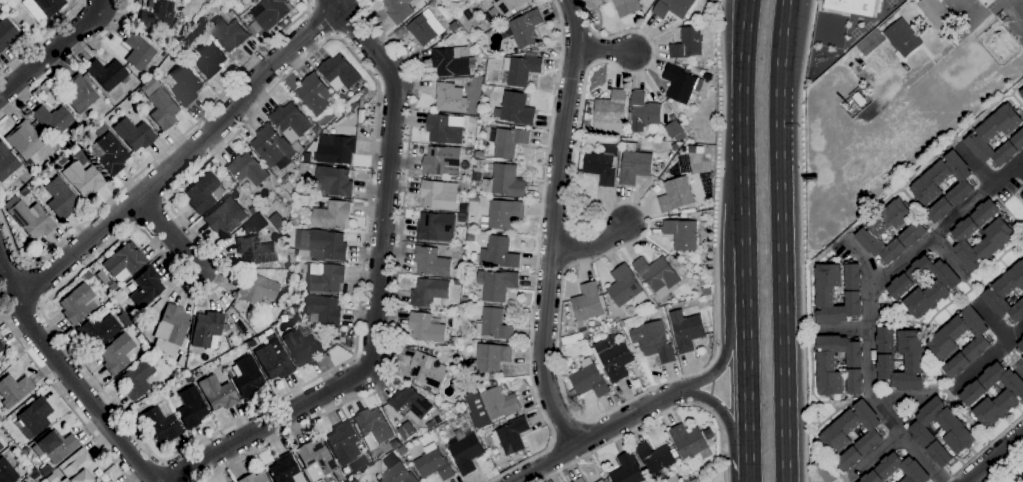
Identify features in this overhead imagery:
building: (603, 0)
building: (241, 1)
road: (366, 2)
park: (889, 2)
road: (311, 3)
building: (851, 6)
building: (42, 7)
building: (626, 7)
building: (505, 8)
building: (673, 8)
building: (399, 10)
building: (935, 12)
building: (271, 13)
building: (157, 15)
building: (703, 17)
building: (200, 19)
road: (322, 21)
road: (353, 21)
building: (455, 26)
park: (867, 26)
building: (425, 29)
building: (526, 29)
building: (252, 30)
park: (853, 32)
building: (7, 33)
building: (227, 33)
road: (41, 37)
building: (902, 38)
building: (870, 42)
building: (687, 44)
road: (54, 49)
building: (138, 51)
road: (605, 51)
building: (207, 57)
road: (936, 59)
road: (67, 60)
building: (452, 62)
building: (521, 70)
building: (479, 71)
building: (339, 72)
building: (106, 73)
building: (185, 84)
building: (683, 84)
building: (472, 85)
building: (364, 91)
building: (80, 94)
building: (314, 94)
building: (1021, 94)
building: (450, 98)
building: (859, 99)
road: (376, 101)
building: (160, 104)
building: (515, 110)
building: (643, 112)
building: (611, 114)
building: (52, 119)
road: (743, 122)
building: (291, 124)
building: (443, 130)
building: (707, 130)
building: (676, 132)
building: (134, 134)
building: (987, 135)
building: (24, 140)
building: (508, 141)
building: (272, 148)
building: (74, 149)
building: (336, 149)
building: (108, 150)
building: (469, 152)
road: (186, 154)
road: (153, 161)
building: (442, 161)
building: (6, 162)
building: (602, 165)
building: (634, 165)
road: (1021, 165)
road: (974, 166)
building: (247, 169)
building: (302, 173)
building: (83, 178)
building: (335, 182)
building: (504, 182)
building: (288, 187)
building: (924, 188)
building: (203, 192)
building: (439, 195)
building: (675, 195)
road: (978, 196)
building: (60, 198)
building: (254, 210)
building: (504, 214)
building: (332, 215)
building: (226, 217)
building: (32, 219)
road: (552, 226)
building: (436, 227)
building: (915, 231)
road: (170, 233)
building: (681, 234)
building: (471, 237)
building: (999, 238)
road: (780, 240)
road: (801, 240)
road: (592, 245)
building: (327, 246)
building: (255, 250)
building: (499, 253)
road: (950, 256)
road: (537, 258)
road: (860, 259)
building: (124, 262)
building: (431, 262)
building: (87, 274)
building: (101, 276)
building: (657, 276)
building: (325, 278)
building: (457, 283)
building: (497, 284)
road: (32, 287)
building: (146, 287)
building: (625, 287)
building: (899, 287)
building: (256, 288)
road: (378, 290)
road: (395, 290)
road: (746, 290)
building: (429, 293)
building: (1006, 294)
building: (824, 295)
building: (465, 299)
building: (76, 303)
building: (586, 307)
building: (144, 309)
building: (322, 311)
building: (123, 318)
road: (990, 321)
building: (143, 325)
building: (493, 325)
road: (559, 325)
building: (225, 326)
building: (172, 328)
building: (206, 328)
building: (426, 328)
road: (843, 328)
building: (97, 331)
building: (686, 331)
building: (1022, 339)
building: (452, 341)
building: (653, 341)
building: (143, 342)
building: (252, 343)
building: (941, 343)
building: (1021, 345)
building: (1, 347)
building: (301, 347)
building: (636, 350)
building: (116, 353)
building: (1022, 354)
building: (613, 357)
road: (868, 358)
building: (913, 358)
building: (1022, 358)
building: (274, 359)
building: (490, 359)
road: (985, 359)
building: (168, 363)
building: (181, 363)
road: (718, 364)
building: (826, 365)
road: (1018, 368)
building: (428, 371)
road: (70, 372)
building: (246, 376)
building: (136, 378)
building: (188, 378)
building: (589, 379)
building: (14, 389)
road: (748, 392)
building: (217, 393)
building: (572, 393)
road: (902, 394)
road: (63, 396)
building: (970, 396)
building: (458, 400)
building: (410, 405)
building: (490, 405)
building: (191, 407)
road: (722, 413)
building: (34, 417)
road: (655, 418)
building: (460, 419)
building: (161, 425)
building: (430, 425)
building: (372, 427)
road: (568, 432)
building: (957, 432)
building: (708, 434)
road: (599, 435)
building: (511, 436)
building: (833, 437)
building: (689, 442)
building: (342, 443)
building: (1, 445)
building: (54, 446)
road: (985, 449)
building: (402, 451)
building: (464, 451)
road: (874, 456)
road: (994, 457)
building: (317, 459)
building: (656, 460)
building: (434, 465)
road: (749, 466)
building: (899, 466)
building: (77, 467)
building: (285, 469)
building: (45, 470)
road: (172, 470)
building: (628, 470)
building: (6, 471)
road: (1008, 471)
building: (823, 472)
building: (397, 475)
building: (51, 478)
building: (254, 478)
building: (103, 479)
building: (673, 479)
building: (580, 480)
building: (695, 480)
building: (23, 481)
building: (601, 481)

